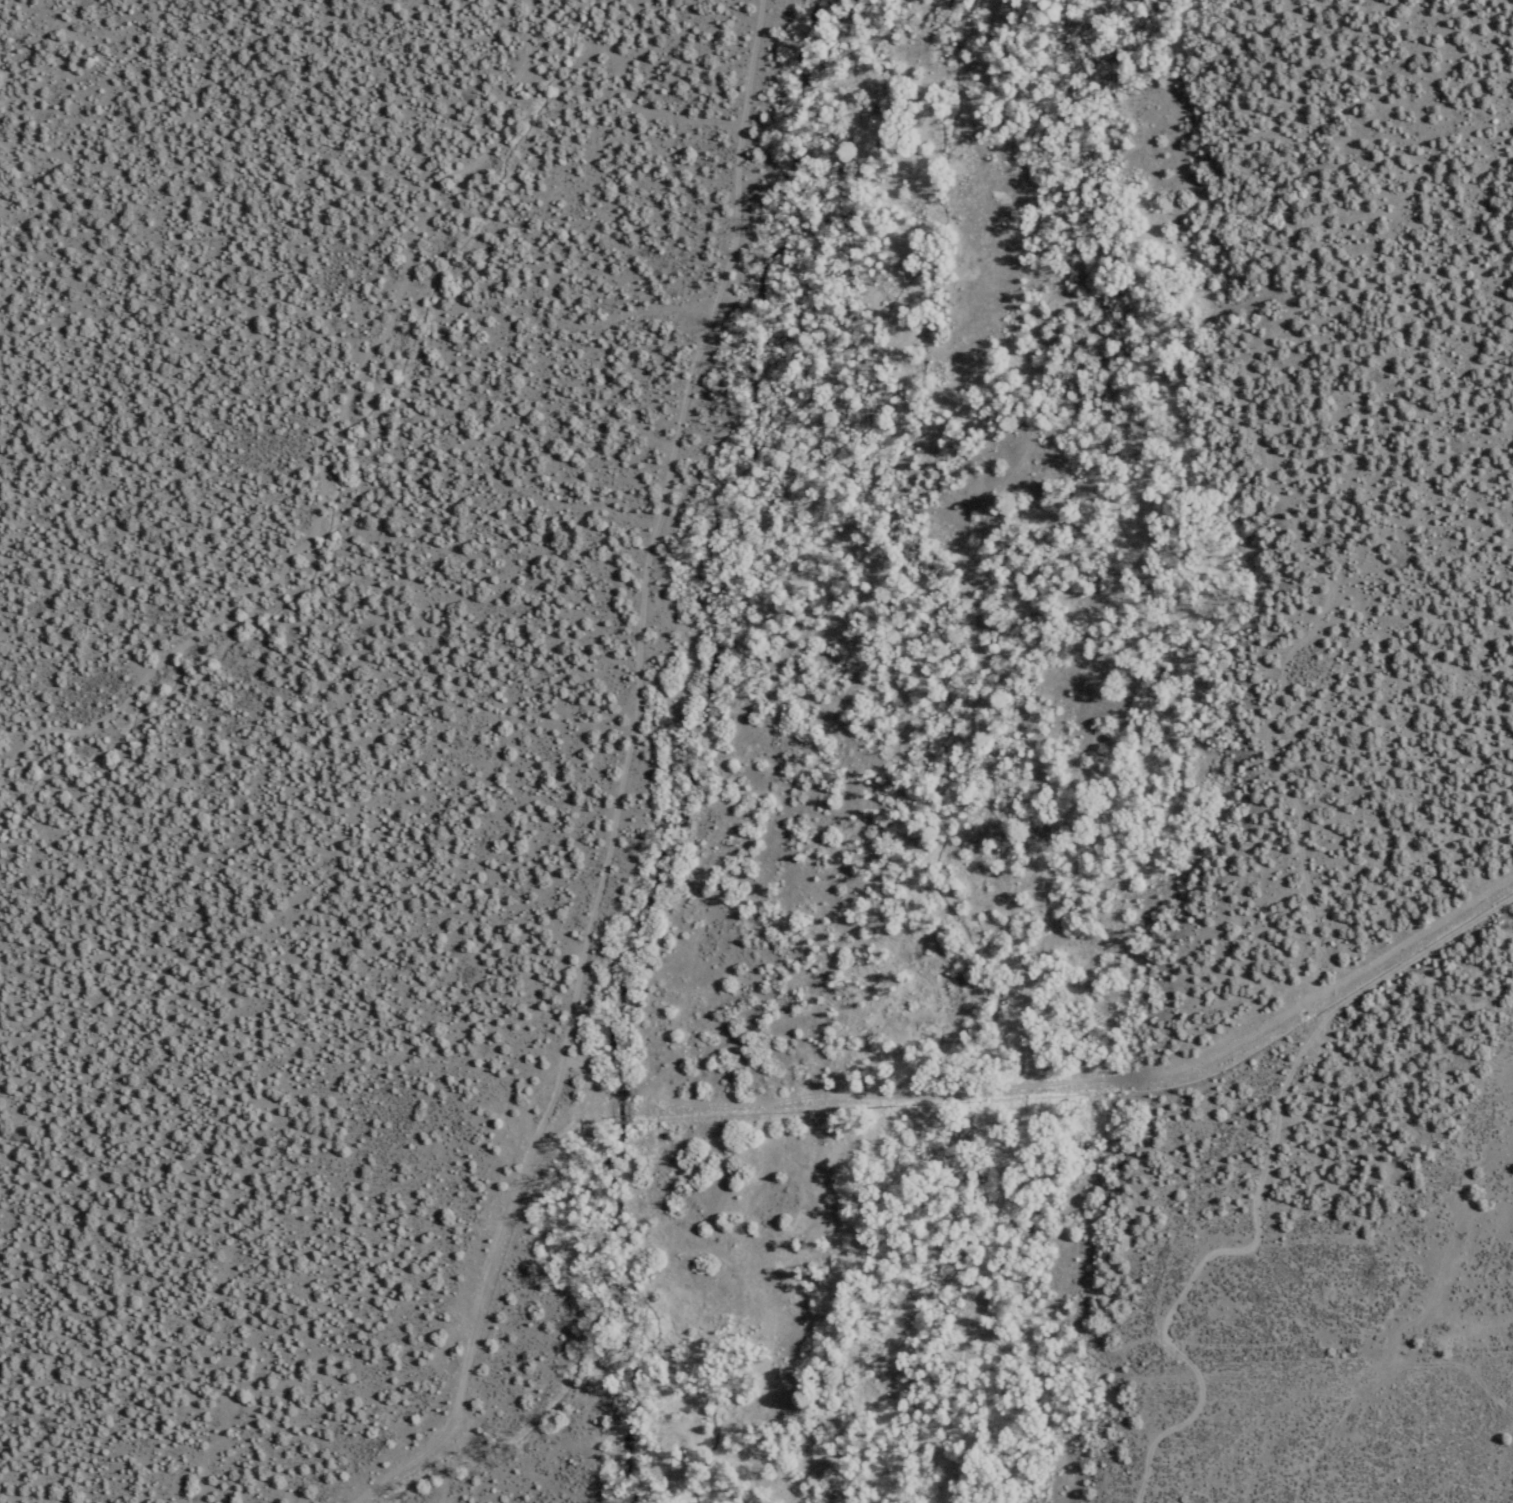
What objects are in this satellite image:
road: (582, 771)
road: (1047, 1067)
road: (409, 1493)

